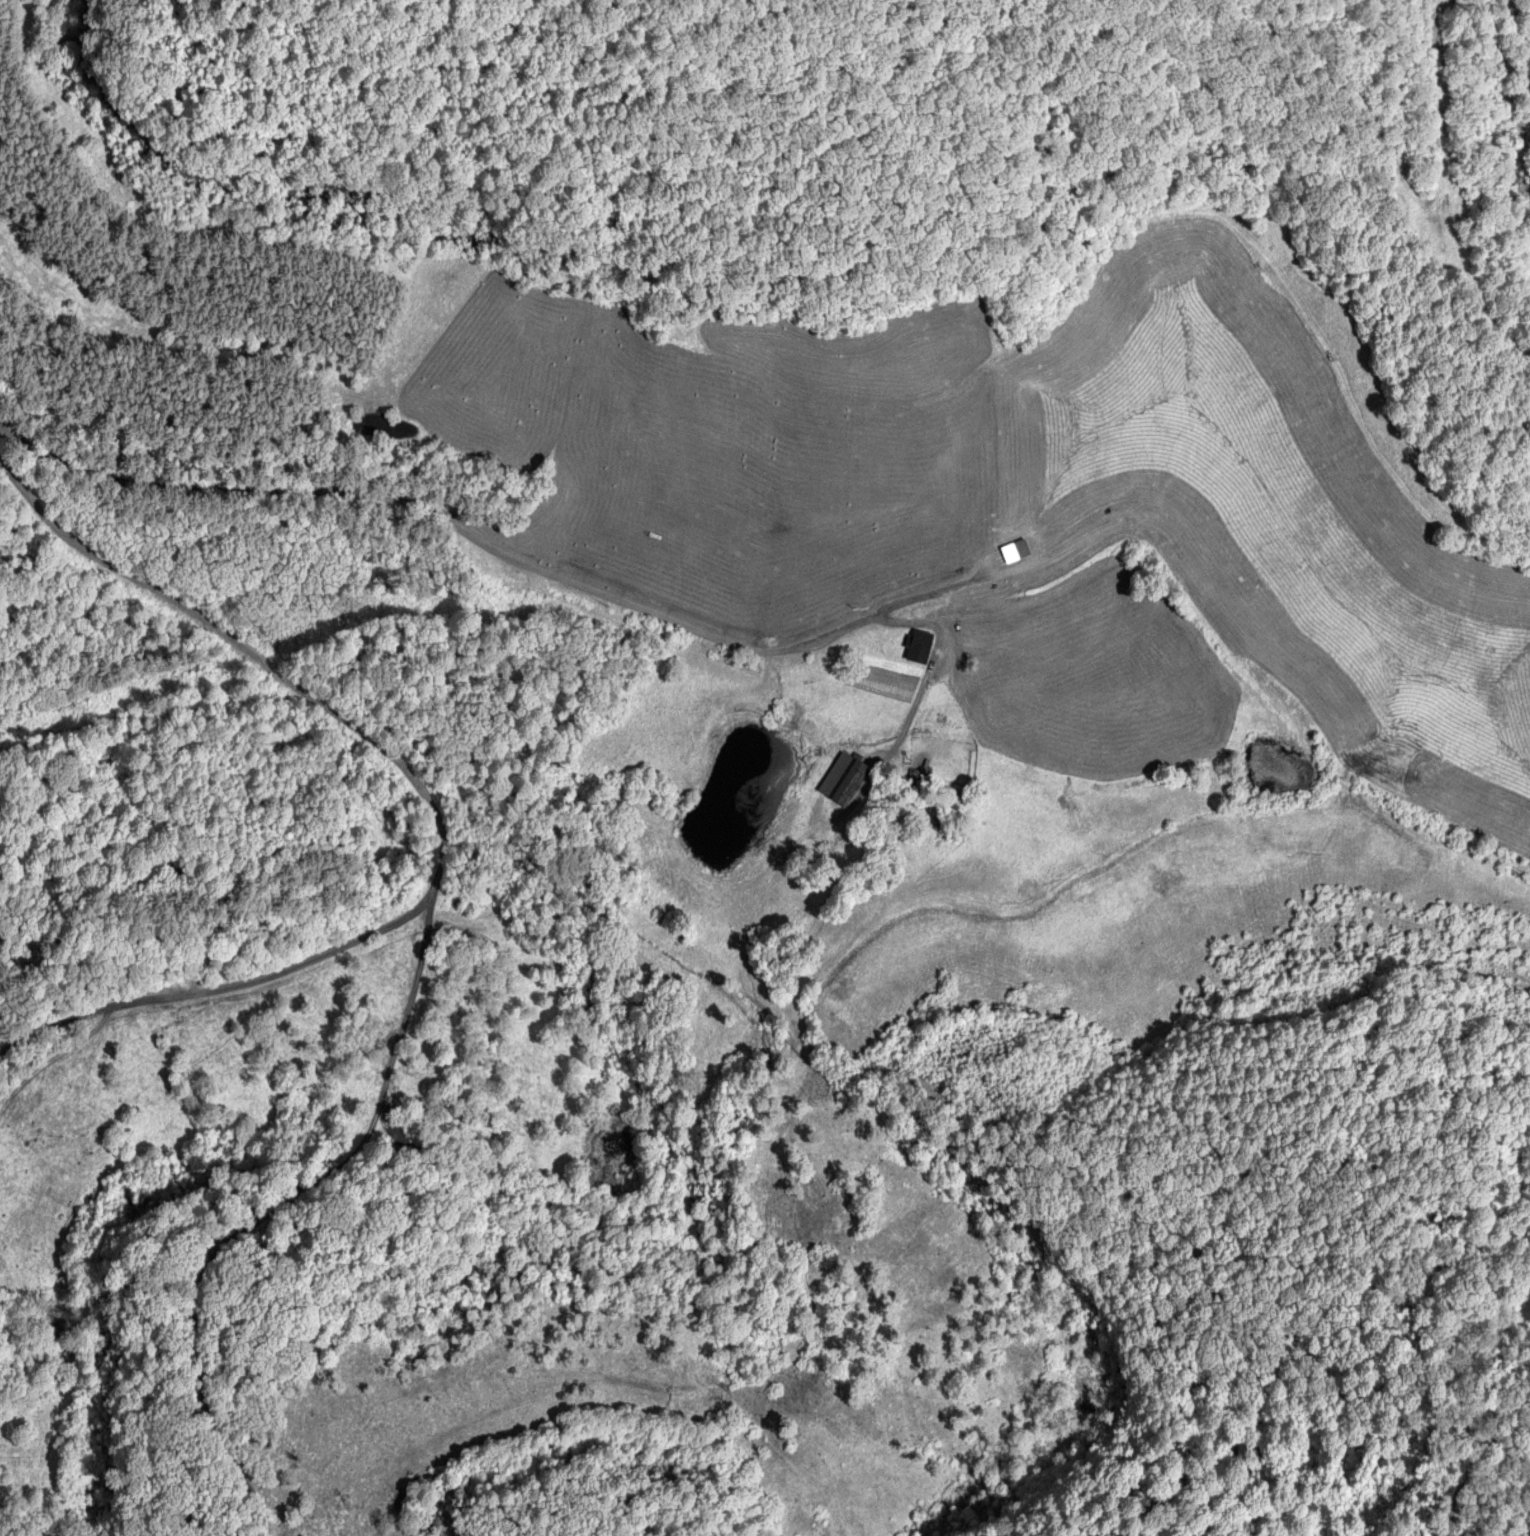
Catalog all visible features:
building: (1017, 551)
building: (921, 647)
building: (844, 778)
road: (406, 973)
road: (261, 975)

